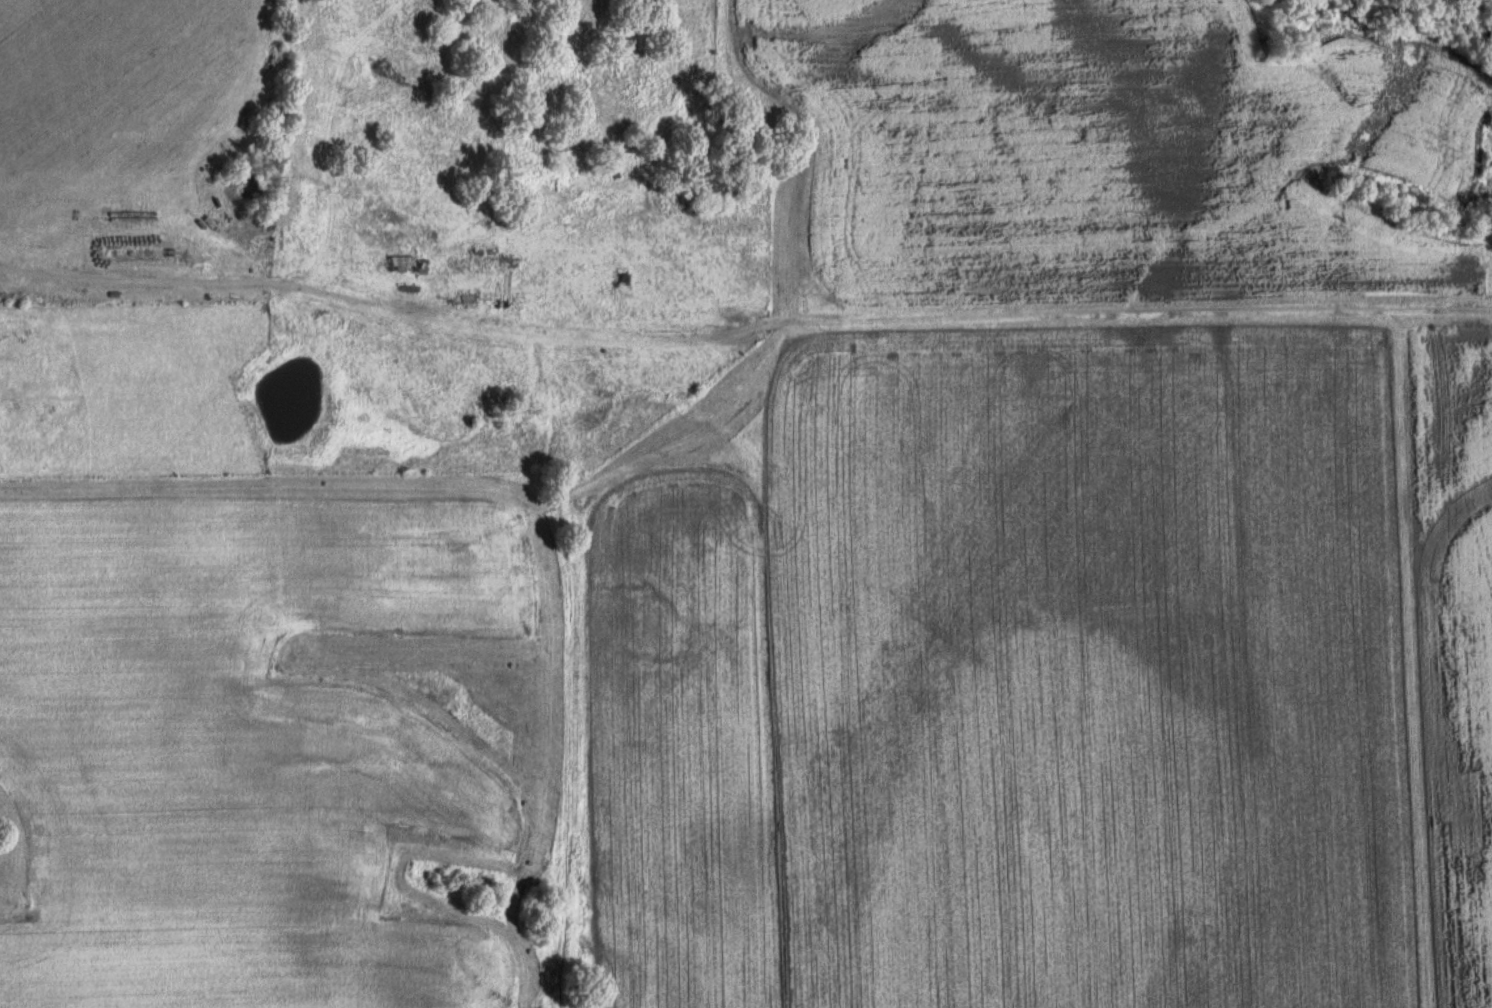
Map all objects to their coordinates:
building: (406, 263)

